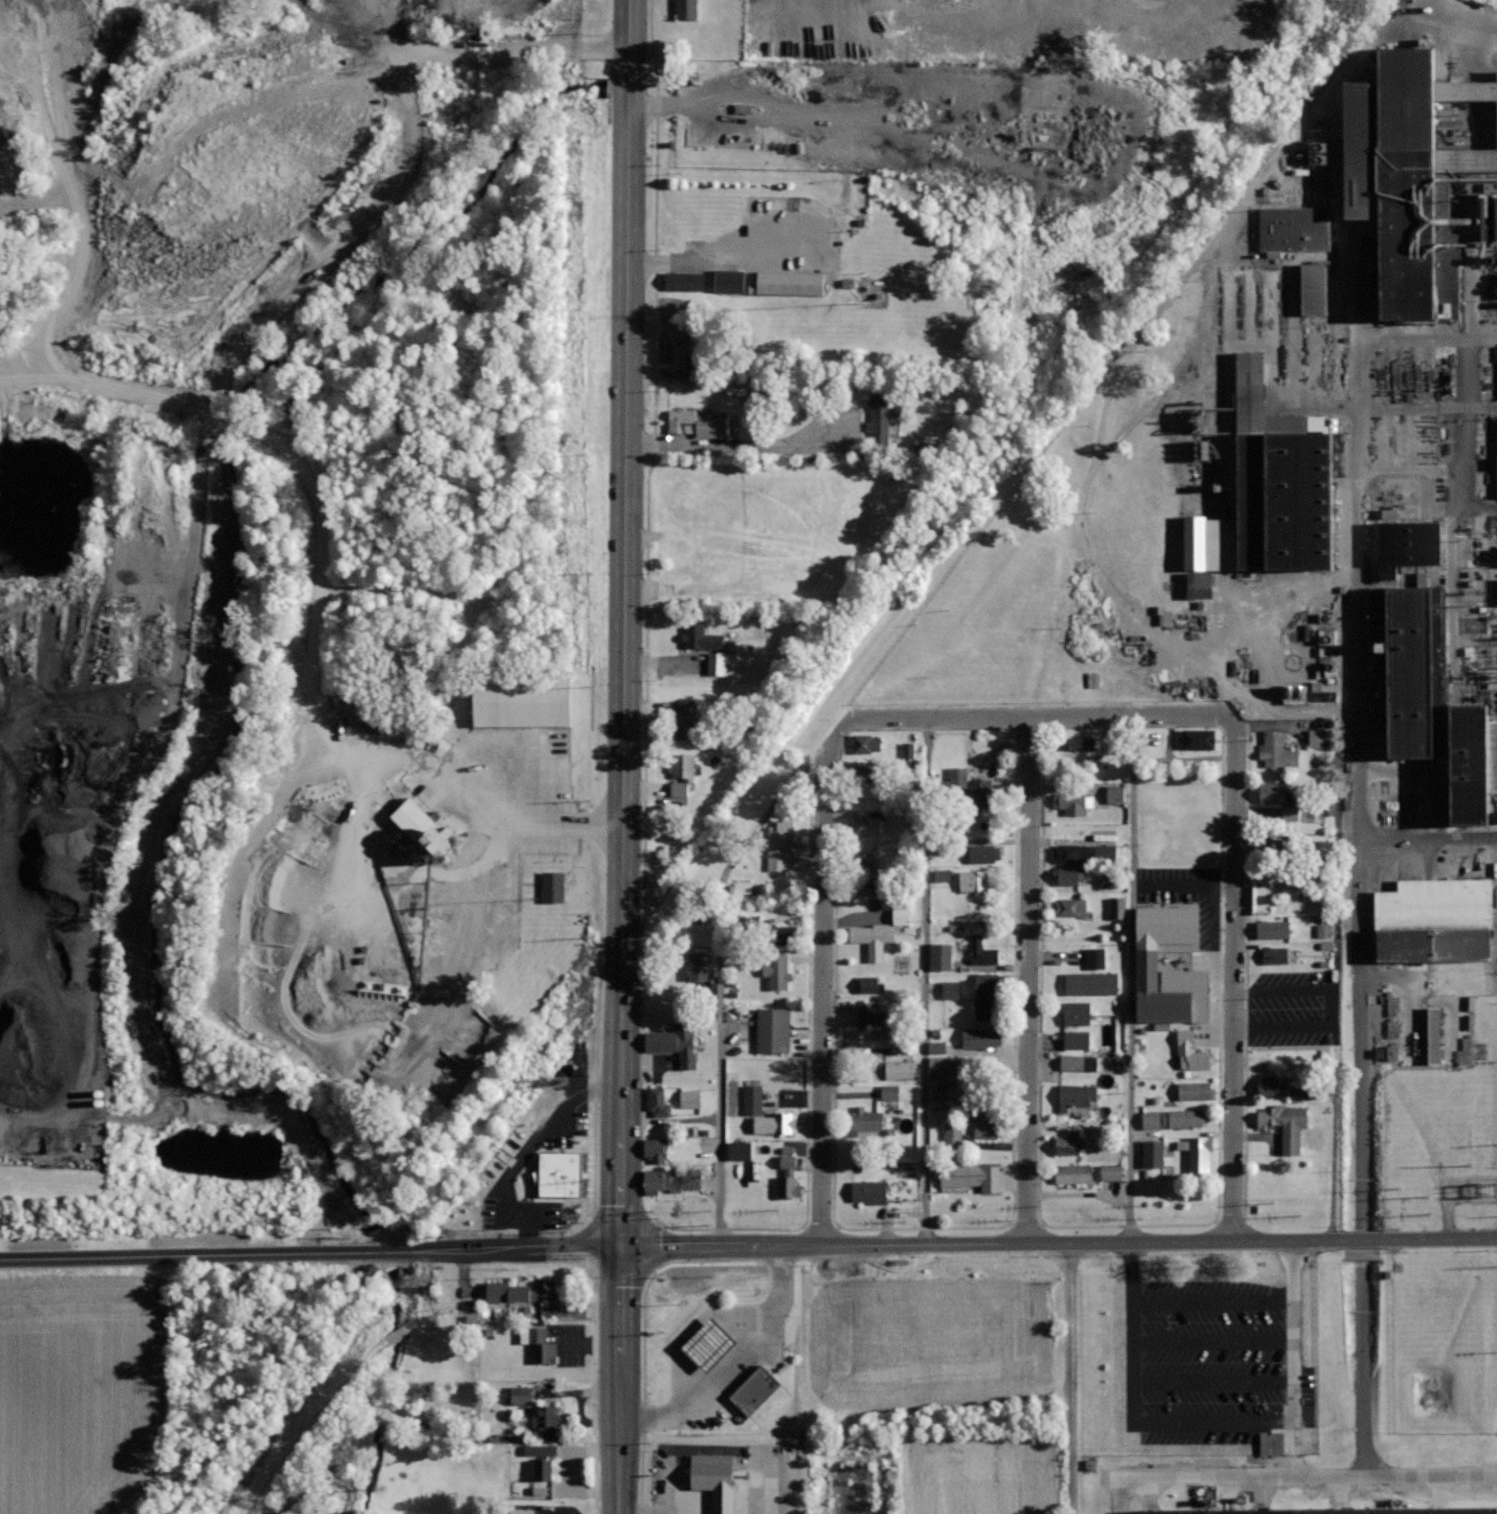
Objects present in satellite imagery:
building: (688, 9)
parking lot: (867, 28)
road: (481, 48)
road: (942, 49)
road: (812, 50)
building: (1405, 162)
road: (71, 186)
road: (36, 198)
building: (1291, 229)
road: (359, 234)
road: (713, 245)
parking lot: (763, 255)
road: (814, 267)
building: (685, 281)
building: (729, 281)
building: (789, 282)
road: (1180, 283)
building: (1307, 290)
road: (1424, 339)
building: (700, 357)
road: (1177, 367)
road: (1365, 408)
building: (883, 413)
building: (704, 425)
building: (1494, 453)
road: (286, 464)
road: (1467, 474)
building: (1267, 507)
building: (1385, 514)
road: (649, 581)
building: (1496, 591)
quarry: (301, 601)
building: (701, 637)
building: (721, 667)
building: (1426, 674)
building: (1307, 694)
building: (517, 702)
road: (1031, 716)
building: (684, 720)
road: (1357, 727)
building: (1315, 738)
road: (478, 739)
building: (1199, 739)
building: (867, 742)
building: (1078, 743)
building: (906, 750)
building: (1276, 750)
road: (625, 757)
parking lot: (508, 760)
building: (681, 773)
building: (862, 776)
building: (967, 789)
road: (133, 792)
building: (1273, 792)
building: (1111, 794)
road: (1, 796)
building: (1071, 803)
building: (1288, 814)
building: (412, 823)
road: (557, 824)
building: (866, 825)
road: (1427, 839)
building: (776, 843)
building: (1281, 847)
building: (1085, 852)
building: (982, 853)
road: (244, 855)
building: (862, 864)
road: (504, 865)
building: (1067, 874)
building: (938, 875)
building: (973, 881)
road: (46, 883)
building: (548, 887)
parking lot: (511, 896)
building: (1070, 906)
building: (1116, 907)
building: (896, 917)
building: (1439, 919)
building: (1273, 929)
building: (1321, 931)
building: (782, 936)
building: (873, 939)
building: (983, 949)
road: (1245, 952)
building: (1275, 954)
building: (1146, 956)
building: (936, 957)
building: (1093, 959)
building: (698, 965)
road: (719, 969)
building: (772, 971)
road: (1234, 978)
road: (1030, 979)
road: (1132, 979)
road: (927, 980)
building: (1091, 983)
building: (871, 984)
road: (823, 987)
road: (47, 989)
building: (947, 990)
building: (986, 993)
building: (1076, 1012)
road: (450, 1016)
building: (870, 1016)
building: (773, 1030)
building: (1429, 1036)
building: (982, 1037)
building: (871, 1039)
building: (1076, 1039)
building: (675, 1043)
building: (934, 1047)
building: (1190, 1052)
building: (1385, 1053)
building: (1079, 1062)
building: (936, 1067)
building: (896, 1071)
road: (807, 1076)
building: (1271, 1086)
building: (951, 1089)
building: (1195, 1090)
building: (886, 1093)
building: (1076, 1094)
road: (593, 1095)
building: (753, 1098)
building: (687, 1099)
building: (658, 1101)
building: (1183, 1118)
building: (865, 1119)
building: (1149, 1120)
building: (1285, 1122)
building: (987, 1123)
building: (950, 1136)
building: (515, 1137)
road: (574, 1138)
road: (535, 1140)
building: (1070, 1142)
building: (656, 1149)
building: (734, 1151)
building: (1150, 1154)
building: (1202, 1156)
parking lot: (546, 1162)
building: (1108, 1172)
building: (558, 1173)
building: (1072, 1173)
building: (972, 1175)
building: (789, 1178)
building: (670, 1181)
power substation: (1484, 1188)
building: (871, 1191)
road: (1037, 1214)
road: (832, 1215)
road: (515, 1225)
road: (1059, 1243)
road: (311, 1255)
building: (519, 1292)
road: (1211, 1305)
road: (643, 1335)
parking lot: (1213, 1342)
building: (541, 1344)
building: (702, 1345)
road: (1212, 1349)
parking lot: (721, 1356)
road: (1293, 1359)
road: (729, 1360)
road: (1361, 1368)
road: (1068, 1378)
road: (1213, 1386)
building: (755, 1389)
building: (517, 1395)
road: (1132, 1415)
building: (547, 1418)
building: (1268, 1444)
road: (726, 1449)
building: (536, 1451)
building: (543, 1468)
road: (1301, 1478)
building: (714, 1479)
parking lot: (717, 1480)
road: (746, 1481)
road: (1122, 1496)
building: (519, 1511)
building: (1318, 1511)

